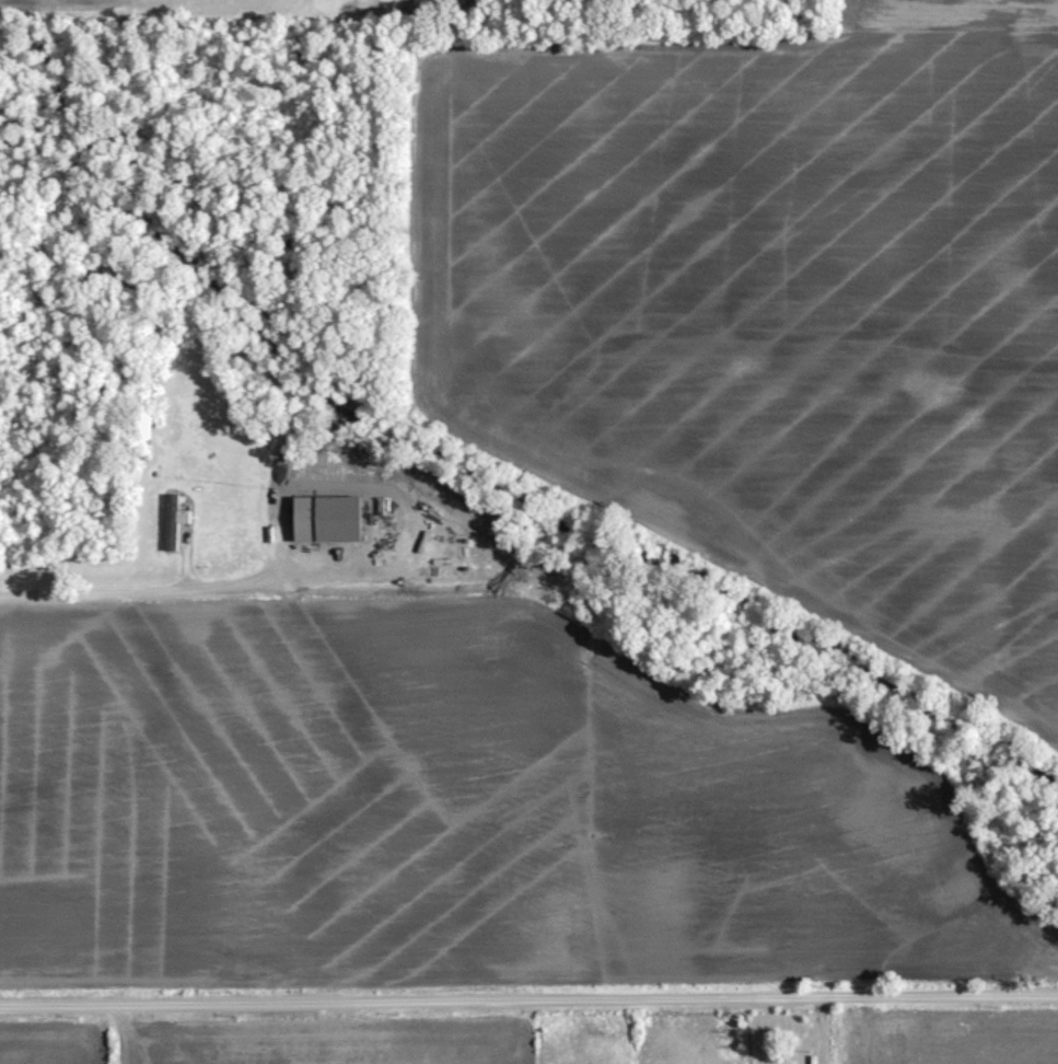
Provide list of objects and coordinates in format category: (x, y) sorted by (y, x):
building: (173, 517)
building: (327, 517)
road: (162, 586)
road: (528, 994)

